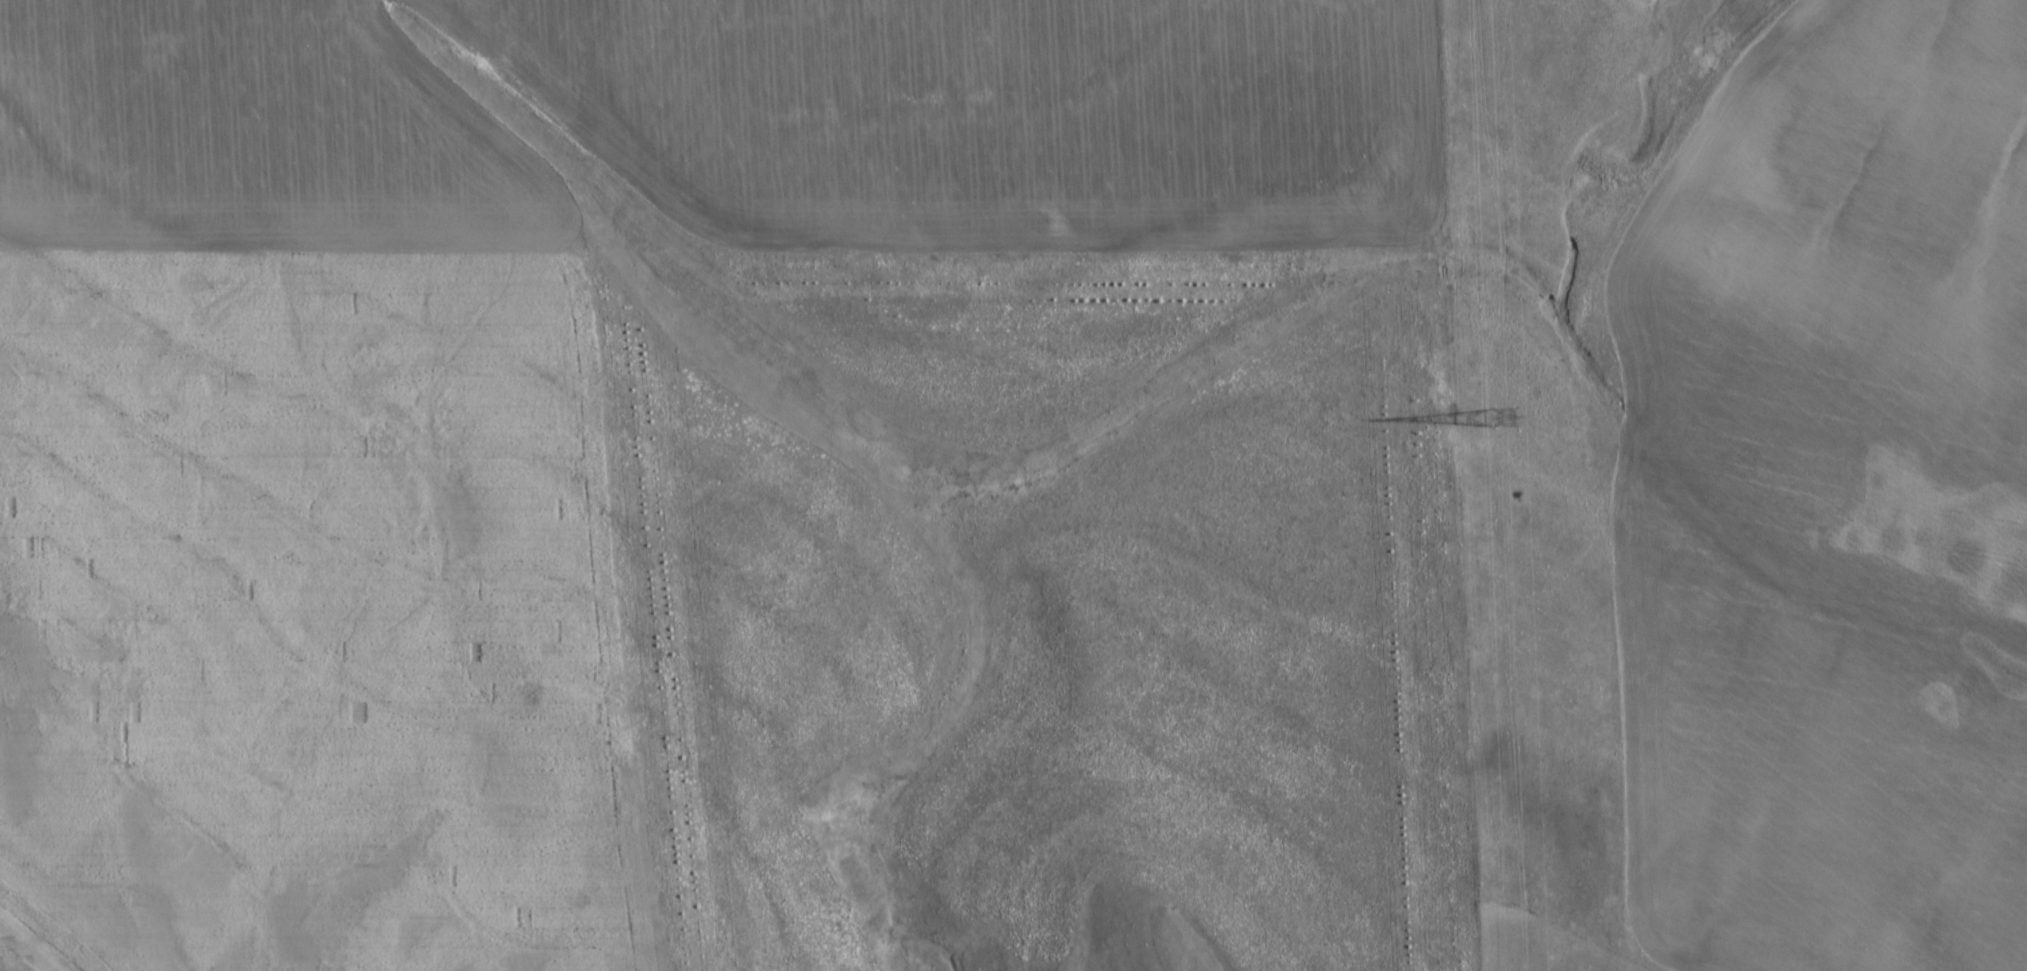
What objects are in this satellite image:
power tower: (1500, 415)

